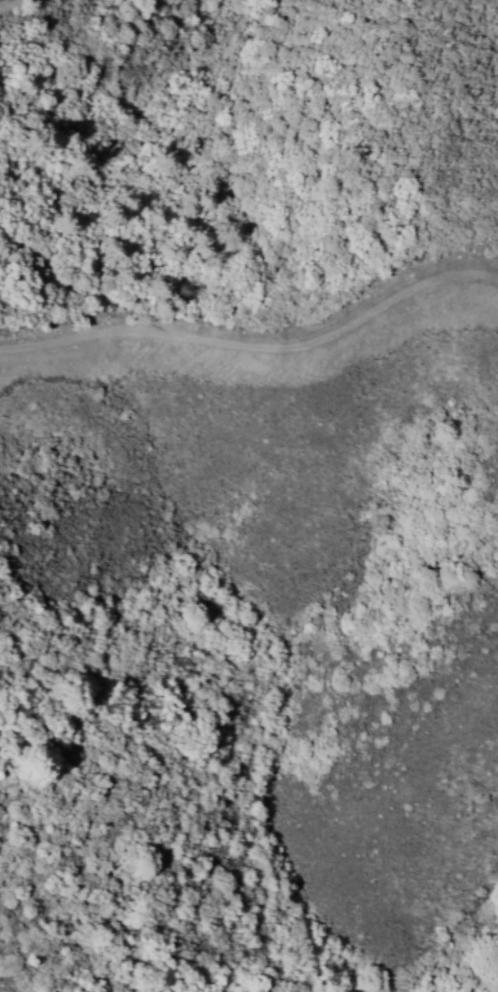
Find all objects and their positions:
road: (258, 354)

